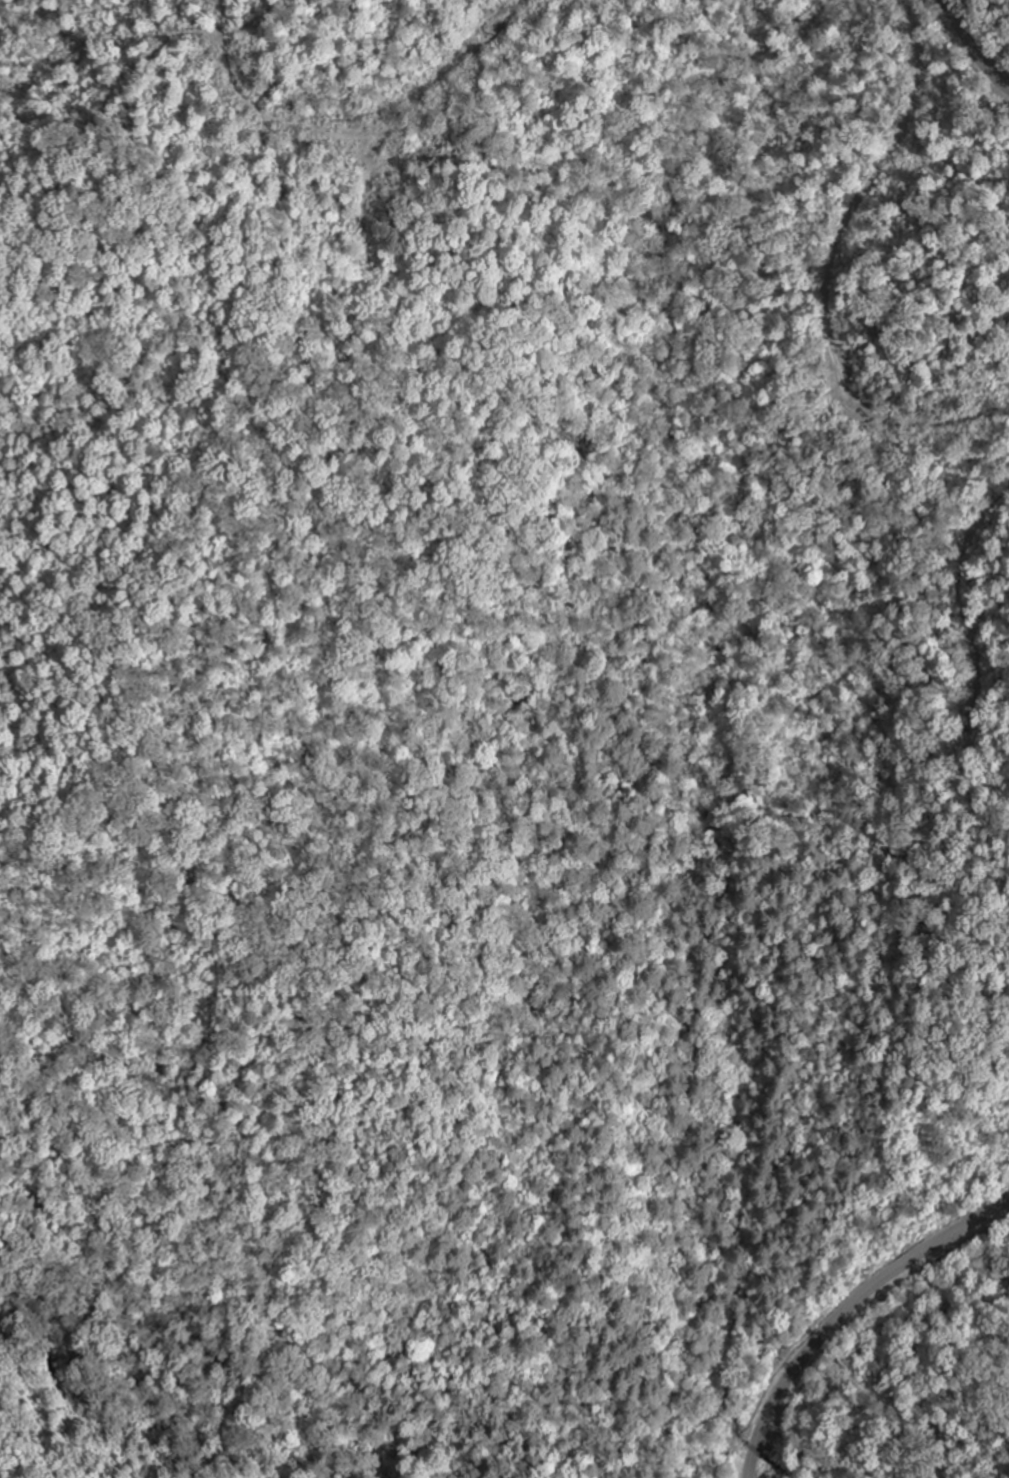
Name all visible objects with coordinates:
road: (973, 46)
road: (845, 1310)

